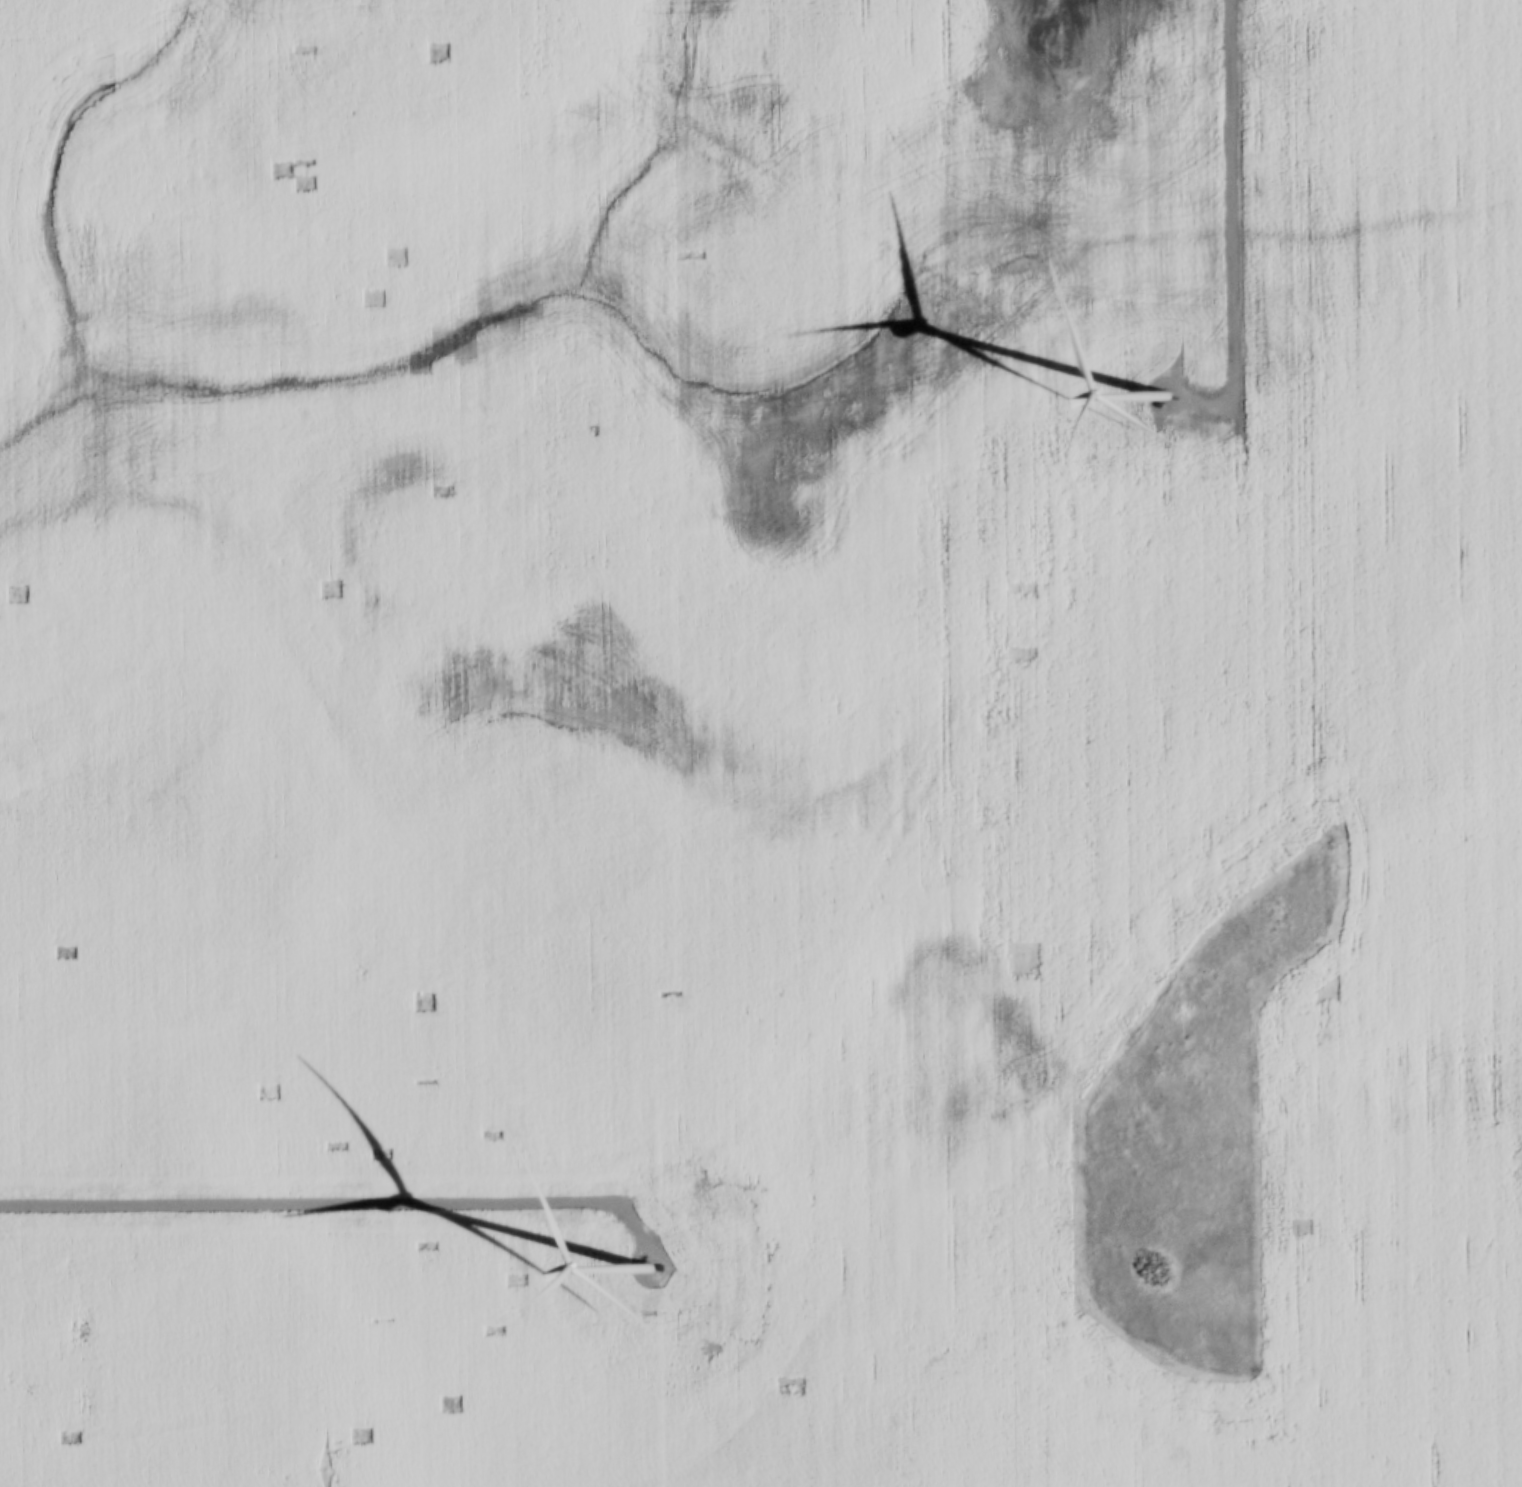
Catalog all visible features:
wind turbine: (1170, 403)
wind turbine: (646, 1263)

